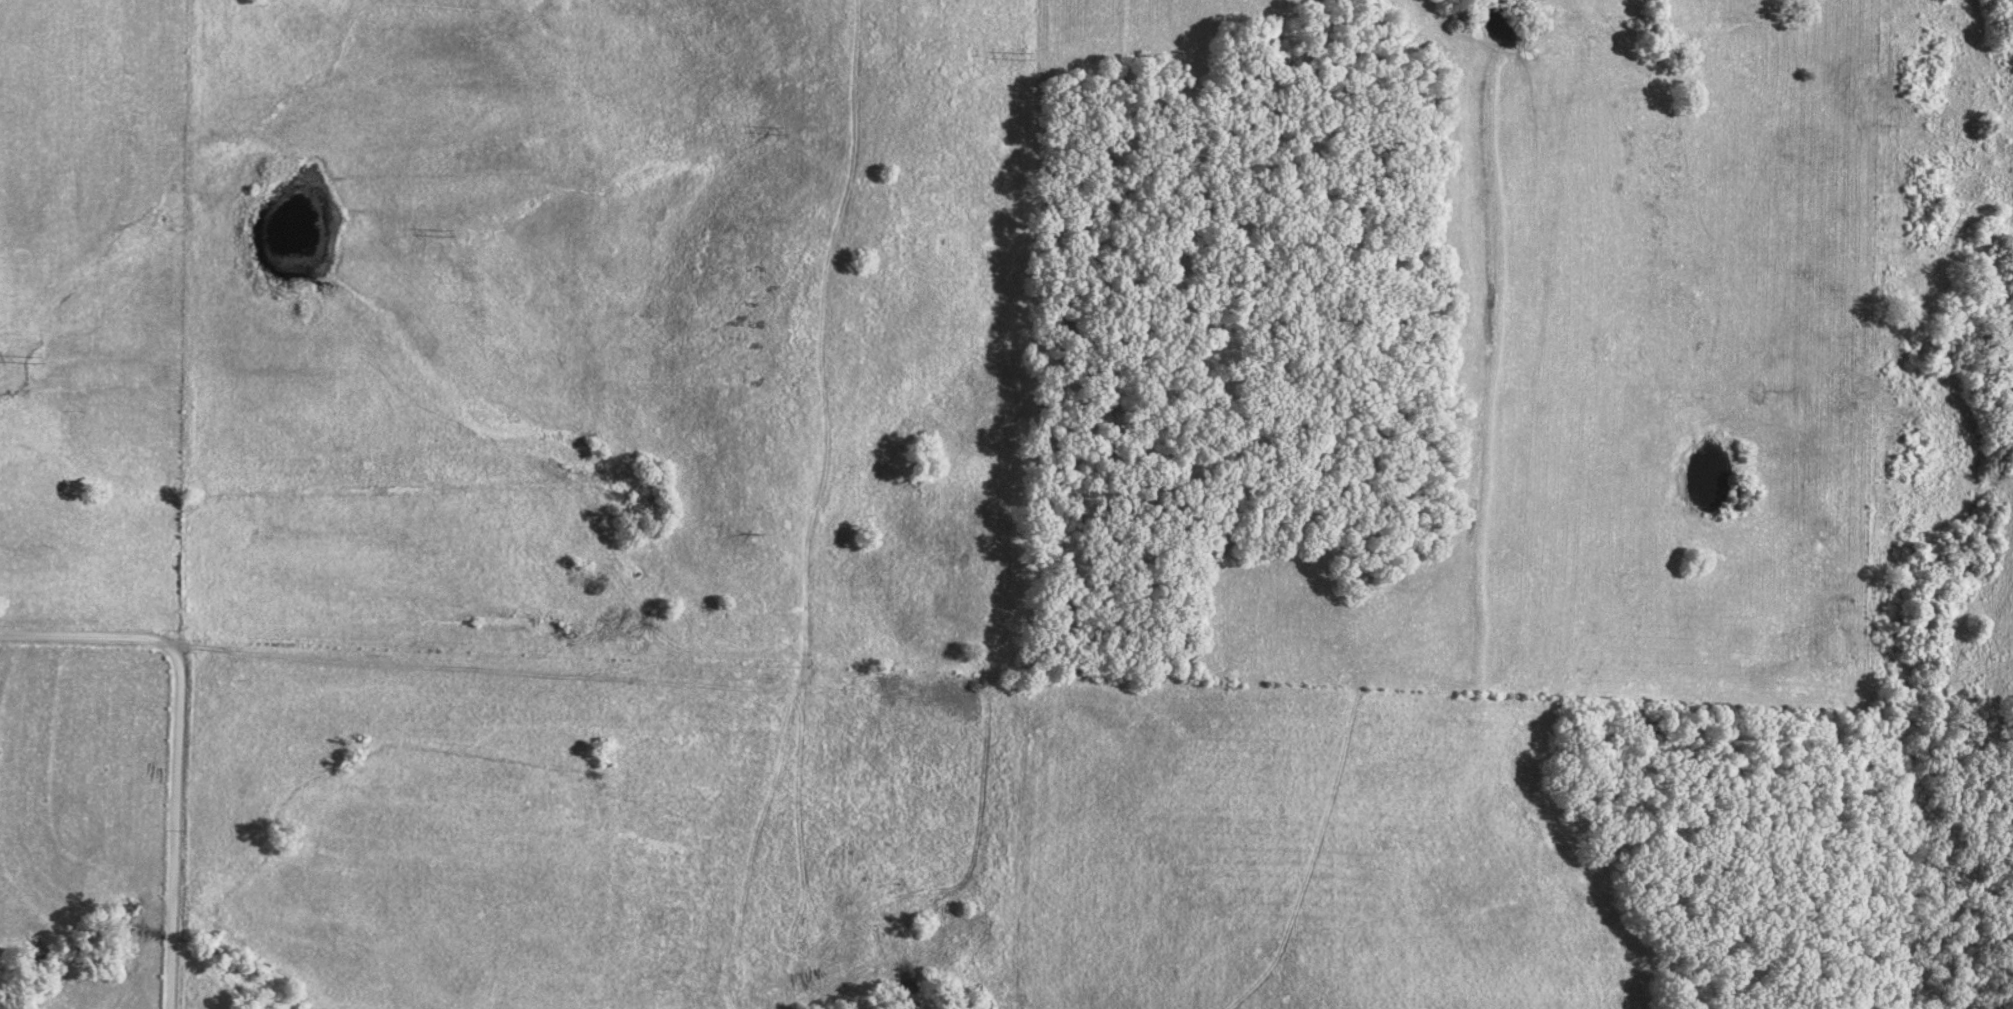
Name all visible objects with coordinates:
road: (814, 509)
road: (178, 741)

